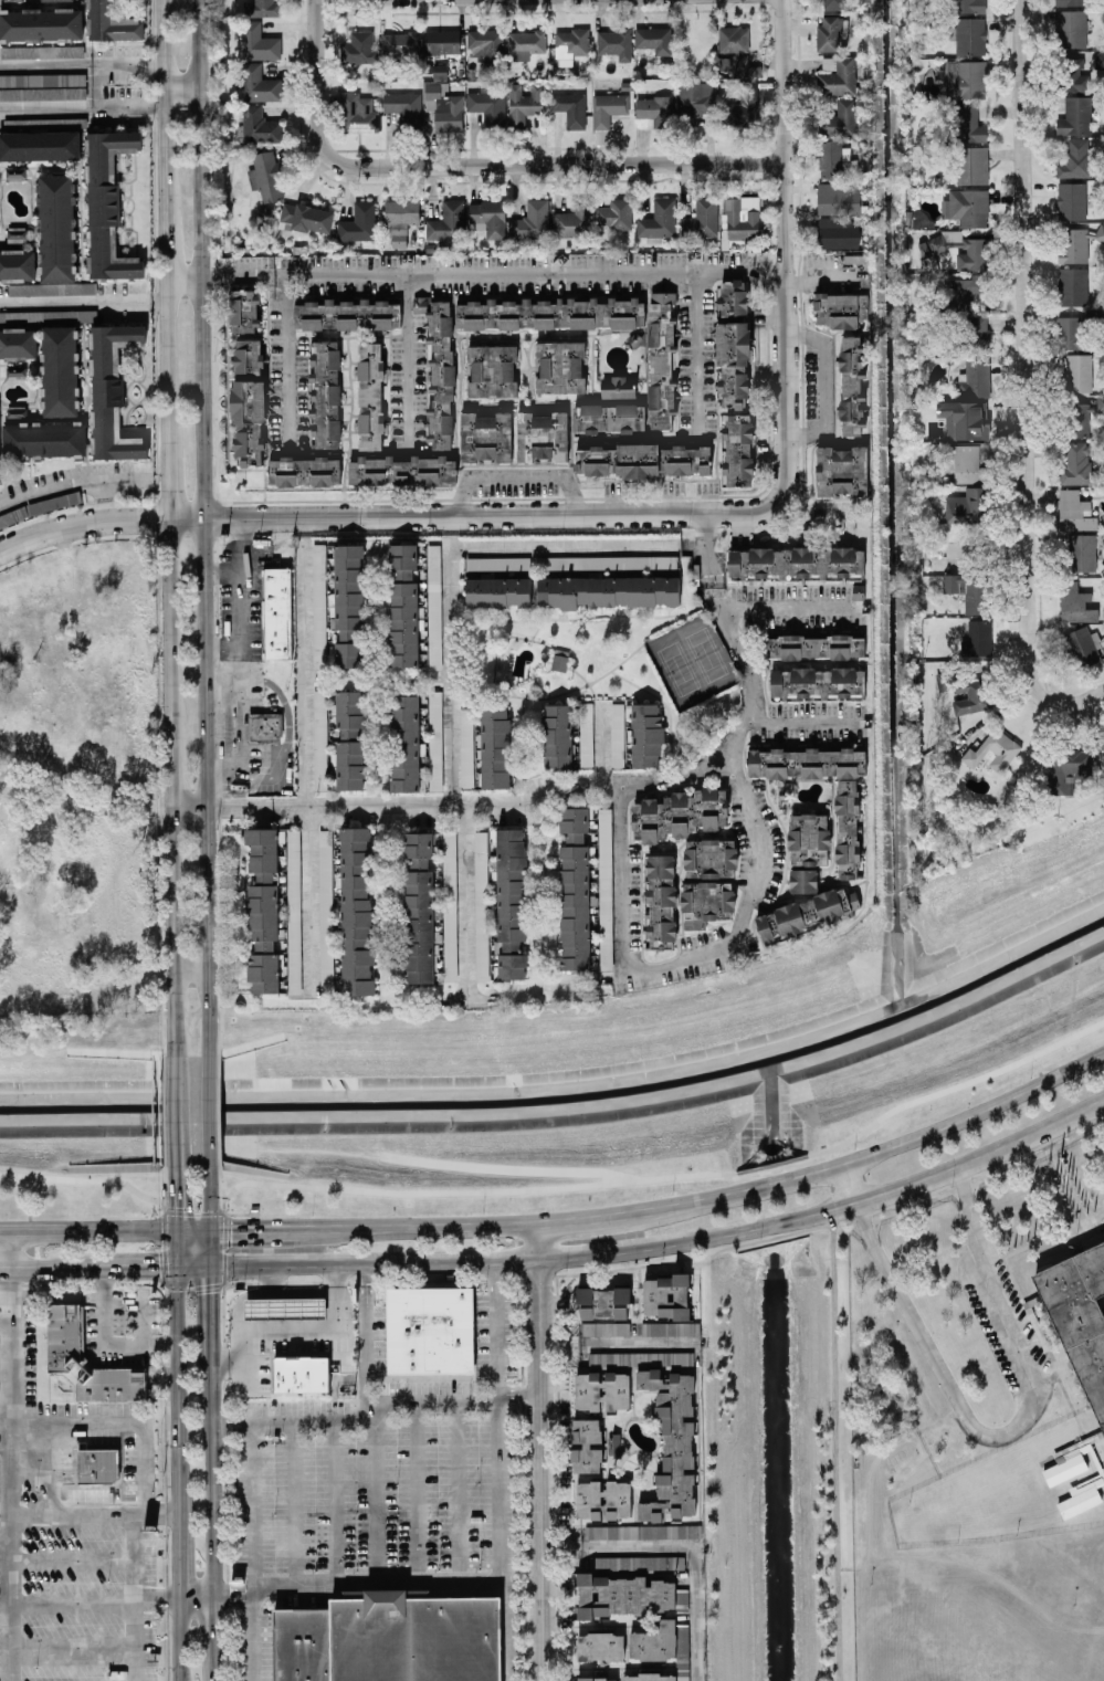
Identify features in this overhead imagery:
building: (53, 0)
building: (1071, 2)
building: (833, 3)
building: (969, 6)
building: (263, 8)
building: (111, 22)
building: (41, 23)
building: (1070, 28)
building: (828, 32)
building: (970, 35)
building: (653, 39)
building: (734, 39)
building: (442, 41)
building: (257, 42)
building: (616, 42)
building: (525, 43)
building: (570, 43)
building: (484, 44)
building: (358, 48)
building: (401, 48)
building: (41, 51)
road: (316, 54)
building: (1100, 60)
road: (45, 64)
road: (126, 64)
building: (740, 65)
building: (440, 70)
building: (837, 75)
building: (1074, 75)
building: (965, 78)
road: (180, 80)
road: (97, 84)
building: (259, 84)
building: (42, 86)
building: (694, 96)
building: (523, 103)
road: (44, 104)
road: (126, 104)
building: (404, 107)
building: (443, 107)
building: (487, 107)
building: (570, 107)
building: (607, 108)
building: (652, 111)
building: (357, 113)
building: (738, 114)
building: (1075, 116)
building: (839, 119)
building: (966, 123)
building: (259, 125)
road: (784, 139)
building: (39, 144)
building: (833, 158)
building: (1075, 159)
road: (530, 164)
building: (971, 165)
building: (15, 172)
building: (265, 176)
building: (837, 199)
building: (1071, 200)
building: (107, 203)
building: (966, 207)
building: (400, 211)
building: (614, 213)
building: (307, 217)
building: (919, 217)
building: (488, 218)
building: (658, 219)
building: (532, 220)
building: (739, 220)
building: (572, 221)
building: (358, 222)
building: (446, 222)
road: (164, 223)
building: (56, 228)
building: (1100, 232)
building: (837, 233)
building: (1072, 244)
building: (963, 249)
building: (17, 265)
road: (493, 273)
road: (181, 276)
road: (820, 279)
building: (1072, 285)
building: (966, 291)
road: (82, 301)
building: (732, 301)
building: (840, 308)
building: (243, 311)
building: (550, 313)
building: (347, 314)
building: (1071, 332)
building: (976, 335)
building: (18, 342)
road: (694, 351)
building: (661, 359)
road: (402, 363)
building: (733, 364)
road: (282, 365)
building: (560, 366)
building: (439, 368)
building: (59, 370)
building: (492, 370)
building: (1081, 371)
road: (1024, 381)
building: (976, 382)
road: (823, 384)
building: (851, 385)
building: (618, 387)
building: (112, 390)
road: (787, 392)
building: (325, 395)
building: (370, 396)
building: (249, 400)
building: (1100, 402)
building: (608, 417)
building: (965, 419)
building: (1077, 419)
building: (543, 435)
building: (485, 437)
building: (44, 439)
building: (737, 448)
building: (642, 460)
building: (968, 464)
building: (1077, 464)
building: (402, 470)
building: (841, 470)
building: (304, 471)
road: (516, 476)
road: (71, 480)
road: (166, 483)
road: (101, 497)
building: (965, 506)
building: (1074, 511)
road: (387, 515)
road: (450, 524)
road: (202, 527)
road: (561, 546)
road: (705, 548)
road: (972, 549)
building: (1082, 553)
building: (791, 563)
road: (222, 568)
building: (968, 590)
building: (497, 591)
building: (608, 591)
road: (243, 601)
building: (1075, 602)
road: (167, 605)
building: (318, 605)
building: (348, 605)
building: (402, 605)
building: (433, 606)
road: (777, 607)
building: (276, 612)
building: (977, 638)
building: (817, 647)
building: (1083, 647)
park: (705, 653)
building: (559, 661)
road: (745, 661)
road: (450, 668)
park: (677, 668)
building: (817, 681)
building: (976, 692)
building: (264, 726)
building: (586, 734)
building: (646, 734)
building: (617, 735)
building: (556, 736)
building: (319, 739)
building: (350, 739)
building: (434, 739)
building: (404, 743)
road: (599, 743)
road: (732, 744)
building: (466, 747)
building: (493, 748)
road: (168, 749)
building: (992, 750)
road: (307, 755)
building: (1069, 768)
road: (82, 802)
road: (438, 803)
road: (238, 806)
road: (187, 807)
building: (679, 813)
building: (848, 828)
building: (809, 839)
building: (709, 858)
building: (803, 880)
building: (575, 890)
road: (94, 895)
building: (661, 901)
road: (466, 902)
building: (511, 902)
building: (705, 902)
building: (450, 904)
building: (481, 904)
building: (419, 907)
building: (263, 910)
building: (294, 911)
building: (807, 912)
building: (325, 913)
road: (170, 931)
road: (685, 958)
road: (189, 976)
road: (86, 988)
road: (466, 1001)
park: (557, 1072)
road: (953, 1086)
road: (172, 1088)
river: (565, 1096)
road: (209, 1111)
road: (948, 1123)
building: (252, 1139)
road: (172, 1144)
road: (770, 1164)
road: (502, 1167)
road: (848, 1183)
road: (1065, 1187)
road: (349, 1189)
road: (172, 1198)
road: (210, 1198)
road: (859, 1198)
road: (706, 1201)
traffic signals: (174, 1202)
road: (579, 1221)
road: (420, 1227)
traffic signals: (231, 1229)
road: (259, 1229)
road: (86, 1230)
road: (191, 1230)
road: (1047, 1232)
road: (210, 1246)
road: (174, 1247)
road: (7, 1249)
road: (406, 1262)
road: (150, 1263)
traffic signals: (157, 1263)
road: (45, 1267)
road: (366, 1275)
road: (6, 1290)
traffic signals: (210, 1293)
road: (269, 1293)
building: (665, 1296)
road: (140, 1302)
building: (603, 1302)
building: (286, 1306)
road: (2, 1312)
road: (978, 1312)
road: (210, 1313)
building: (1079, 1315)
road: (260, 1324)
road: (333, 1325)
building: (604, 1328)
building: (431, 1330)
building: (64, 1334)
road: (244, 1339)
road: (614, 1343)
road: (97, 1344)
road: (229, 1364)
building: (301, 1372)
road: (175, 1390)
building: (601, 1390)
road: (514, 1393)
road: (431, 1401)
road: (307, 1421)
road: (230, 1423)
road: (72, 1425)
road: (1006, 1430)
building: (585, 1444)
building: (671, 1444)
road: (832, 1444)
road: (536, 1452)
building: (97, 1464)
building: (1064, 1468)
road: (495, 1470)
road: (29, 1471)
road: (51, 1471)
road: (212, 1482)
road: (411, 1492)
road: (456, 1492)
road: (7, 1496)
road: (369, 1496)
building: (602, 1499)
building: (1077, 1501)
road: (332, 1502)
road: (292, 1503)
road: (91, 1517)
building: (669, 1531)
building: (610, 1532)
road: (685, 1545)
road: (138, 1552)
road: (249, 1552)
road: (176, 1559)
road: (73, 1562)
building: (638, 1562)
road: (975, 1566)
road: (435, 1584)
building: (623, 1595)
road: (231, 1599)
road: (157, 1600)
road: (194, 1600)
road: (73, 1601)
road: (861, 1624)
road: (213, 1629)
park: (964, 1632)
building: (390, 1639)
road: (177, 1640)
building: (600, 1646)
road: (73, 1654)
park: (1100, 1664)
road: (214, 1670)
building: (597, 1679)

